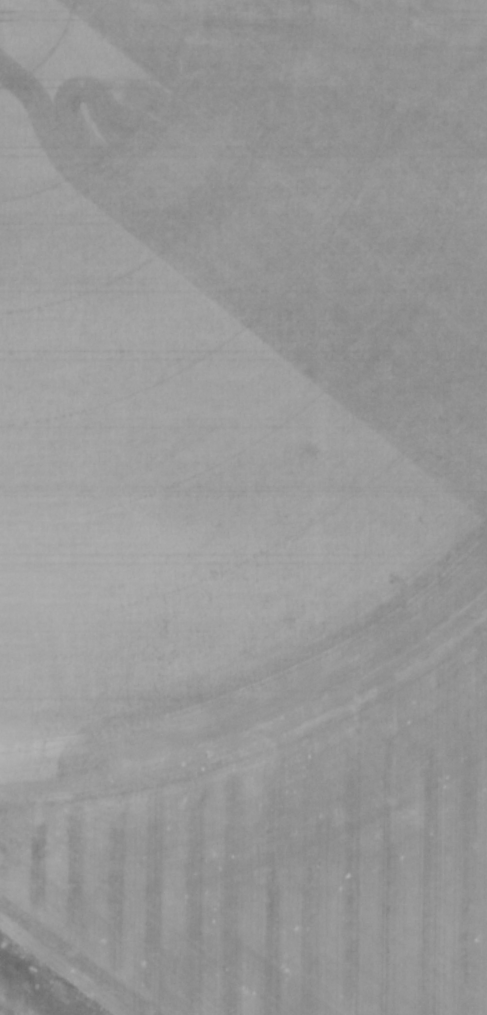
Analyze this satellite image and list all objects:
crop: (245, 503)

